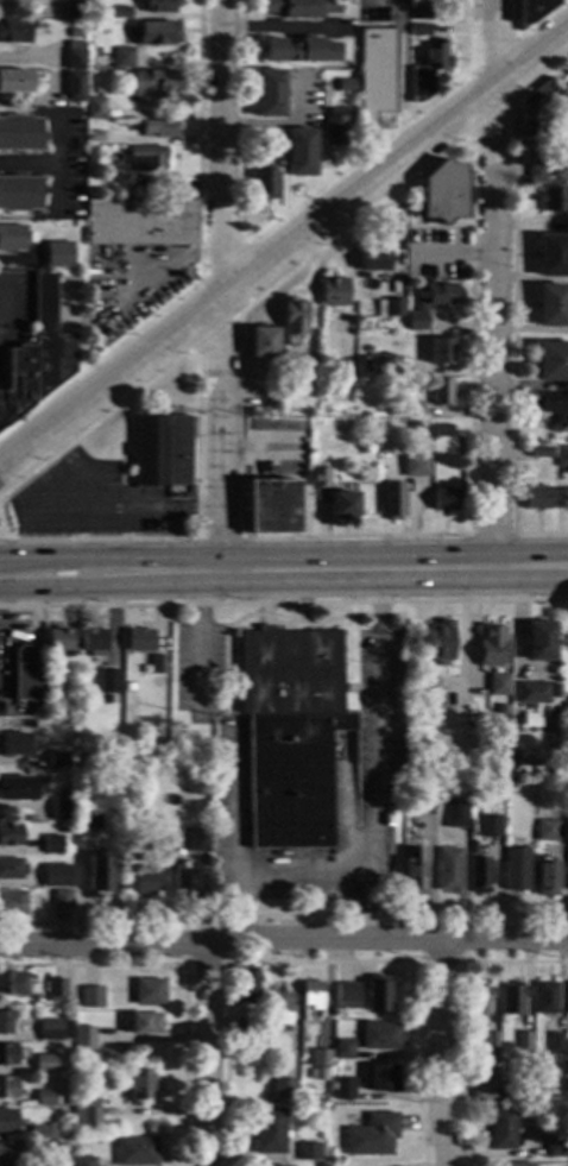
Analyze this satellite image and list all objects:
building: (158, 6)
building: (290, 8)
building: (72, 10)
building: (531, 11)
building: (418, 12)
building: (119, 13)
building: (77, 26)
road: (285, 29)
building: (418, 30)
road: (525, 30)
building: (14, 32)
building: (157, 33)
building: (297, 50)
building: (72, 56)
building: (121, 58)
building: (427, 70)
building: (373, 74)
road: (399, 80)
road: (471, 80)
building: (157, 81)
building: (14, 82)
building: (72, 86)
building: (345, 86)
building: (95, 90)
building: (267, 94)
building: (562, 105)
building: (93, 108)
building: (534, 111)
road: (274, 124)
building: (335, 126)
building: (158, 128)
building: (19, 133)
building: (93, 137)
building: (272, 149)
building: (299, 152)
building: (93, 153)
building: (144, 158)
road: (29, 164)
building: (535, 174)
building: (264, 184)
building: (18, 193)
building: (443, 193)
road: (471, 197)
building: (553, 198)
road: (292, 209)
building: (139, 222)
road: (438, 226)
road: (399, 227)
building: (12, 238)
road: (285, 246)
building: (58, 254)
parking lot: (435, 254)
building: (551, 256)
road: (452, 257)
building: (374, 258)
road: (198, 266)
road: (493, 284)
road: (135, 285)
road: (221, 285)
building: (334, 292)
building: (430, 303)
building: (550, 305)
building: (390, 308)
road: (512, 310)
road: (238, 311)
parking lot: (14, 315)
building: (292, 321)
building: (263, 342)
road: (78, 344)
building: (440, 352)
building: (37, 355)
building: (364, 361)
building: (551, 361)
building: (379, 364)
building: (308, 371)
building: (343, 372)
building: (440, 392)
building: (553, 404)
building: (412, 409)
road: (196, 424)
building: (412, 426)
building: (441, 431)
building: (385, 442)
building: (158, 450)
building: (538, 452)
building: (561, 455)
building: (414, 466)
building: (317, 478)
building: (536, 498)
building: (442, 499)
building: (564, 499)
building: (391, 500)
parking lot: (91, 502)
building: (341, 504)
building: (271, 506)
road: (107, 508)
road: (56, 509)
road: (491, 535)
road: (217, 538)
road: (6, 557)
road: (76, 557)
road: (353, 569)
road: (70, 587)
road: (284, 604)
road: (17, 613)
road: (196, 634)
road: (467, 638)
building: (138, 641)
building: (437, 641)
building: (538, 641)
building: (93, 642)
building: (57, 643)
building: (490, 645)
building: (156, 664)
building: (25, 672)
building: (106, 681)
building: (498, 685)
building: (126, 687)
building: (530, 693)
building: (101, 700)
building: (70, 706)
building: (500, 710)
road: (374, 723)
building: (29, 724)
building: (290, 733)
building: (12, 745)
building: (57, 761)
building: (468, 768)
building: (507, 782)
building: (409, 783)
building: (20, 789)
building: (59, 809)
road: (238, 809)
building: (454, 812)
building: (89, 819)
building: (487, 826)
building: (545, 830)
building: (10, 834)
building: (197, 840)
building: (52, 845)
building: (567, 856)
building: (11, 869)
building: (516, 869)
building: (448, 870)
building: (412, 871)
building: (57, 875)
building: (101, 875)
building: (477, 875)
building: (545, 876)
road: (271, 878)
building: (184, 880)
building: (141, 882)
building: (62, 900)
building: (12, 903)
road: (368, 909)
road: (283, 914)
road: (283, 944)
road: (323, 963)
road: (440, 963)
road: (206, 964)
road: (183, 972)
building: (13, 983)
building: (244, 987)
building: (55, 990)
building: (147, 991)
building: (346, 992)
building: (375, 994)
building: (310, 995)
building: (90, 997)
building: (545, 998)
building: (567, 998)
building: (511, 1000)
building: (477, 1001)
building: (278, 1007)
road: (460, 1010)
building: (5, 1022)
building: (144, 1023)
building: (53, 1029)
building: (245, 1029)
building: (379, 1035)
building: (83, 1038)
building: (490, 1040)
building: (523, 1041)
building: (554, 1042)
building: (255, 1050)
building: (342, 1050)
building: (7, 1054)
road: (438, 1054)
road: (207, 1055)
building: (318, 1058)
building: (44, 1064)
building: (61, 1065)
building: (317, 1074)
building: (381, 1078)
building: (138, 1083)
building: (7, 1088)
building: (283, 1089)
building: (342, 1089)
building: (482, 1090)
building: (545, 1093)
building: (44, 1098)
building: (67, 1102)
building: (86, 1116)
building: (7, 1121)
building: (500, 1129)
building: (42, 1132)
building: (267, 1132)
building: (372, 1136)
building: (555, 1147)
building: (59, 1148)
building: (134, 1152)
building: (308, 1152)
building: (7, 1153)
building: (56, 1160)
building: (83, 1161)
building: (518, 1164)
building: (320, 1165)

